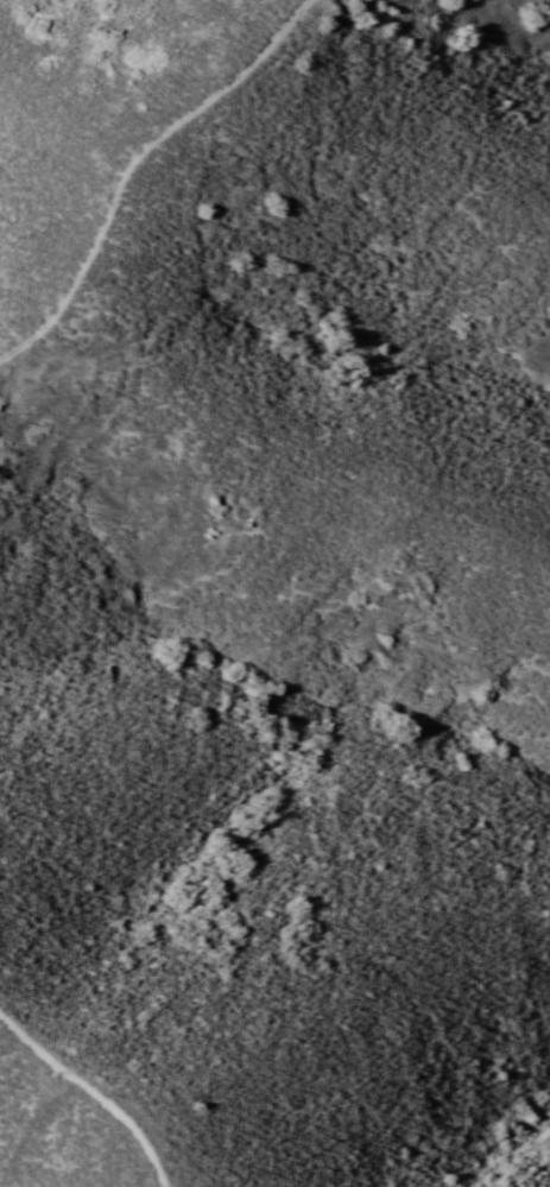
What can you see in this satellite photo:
road: (137, 171)
road: (91, 1094)

